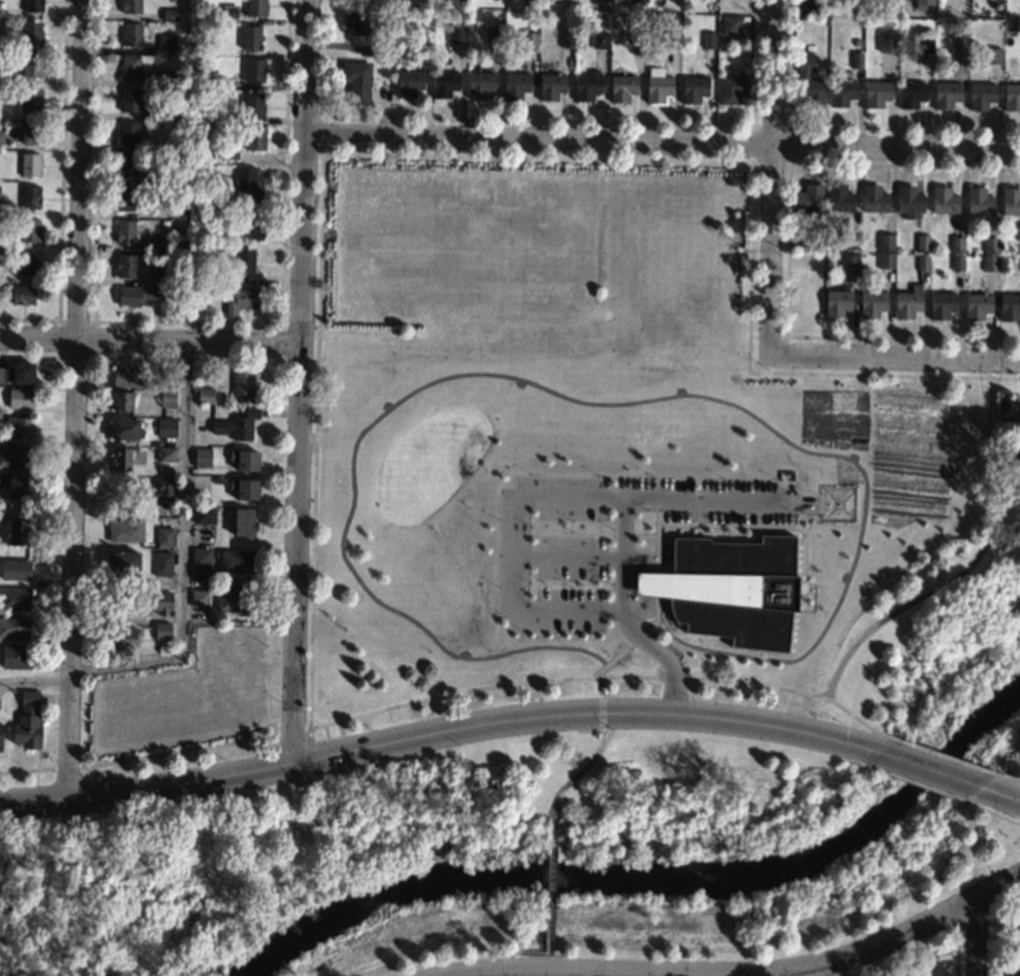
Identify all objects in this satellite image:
building: (603, 0)
building: (640, 0)
building: (675, 0)
building: (923, 2)
building: (428, 3)
building: (445, 3)
building: (531, 3)
building: (33, 5)
building: (570, 6)
building: (809, 6)
building: (131, 7)
building: (256, 8)
building: (927, 9)
building: (229, 14)
building: (171, 15)
building: (816, 19)
building: (357, 21)
building: (730, 25)
building: (197, 28)
building: (31, 34)
building: (131, 35)
building: (457, 35)
building: (492, 35)
building: (636, 35)
building: (672, 37)
building: (251, 38)
building: (566, 39)
building: (600, 40)
building: (708, 40)
building: (957, 40)
building: (528, 41)
building: (888, 41)
building: (857, 42)
building: (924, 42)
building: (167, 45)
building: (423, 48)
building: (384, 50)
building: (959, 55)
building: (992, 56)
building: (856, 60)
building: (31, 66)
building: (129, 67)
building: (253, 70)
building: (180, 77)
building: (166, 79)
building: (356, 81)
building: (809, 82)
building: (408, 83)
building: (444, 83)
building: (222, 84)
building: (479, 85)
building: (514, 85)
building: (550, 86)
building: (587, 86)
building: (657, 87)
building: (622, 88)
building: (693, 89)
building: (732, 89)
building: (841, 92)
building: (197, 94)
building: (876, 94)
building: (911, 94)
building: (946, 95)
building: (981, 96)
building: (29, 98)
building: (1012, 98)
building: (129, 101)
building: (253, 105)
building: (30, 132)
building: (128, 133)
building: (1, 136)
building: (255, 138)
building: (154, 148)
road: (663, 150)
building: (229, 154)
building: (30, 165)
building: (126, 166)
road: (306, 176)
road: (774, 179)
building: (157, 180)
building: (248, 182)
building: (30, 197)
building: (839, 198)
building: (124, 199)
building: (873, 199)
building: (809, 201)
building: (943, 201)
building: (909, 202)
building: (979, 202)
building: (1010, 202)
building: (179, 210)
building: (248, 223)
building: (30, 230)
building: (125, 232)
building: (1018, 233)
building: (852, 241)
building: (812, 242)
building: (886, 242)
building: (922, 243)
building: (161, 244)
building: (957, 244)
building: (991, 245)
building: (197, 258)
building: (886, 260)
building: (922, 262)
building: (957, 262)
building: (990, 262)
building: (27, 263)
building: (849, 263)
building: (245, 264)
building: (125, 266)
building: (161, 277)
building: (806, 292)
building: (18, 294)
building: (136, 295)
building: (242, 301)
building: (837, 301)
building: (872, 303)
building: (907, 303)
building: (941, 305)
building: (977, 306)
building: (1009, 307)
building: (209, 317)
building: (461, 323)
road: (81, 335)
road: (151, 350)
road: (896, 360)
building: (17, 373)
building: (130, 378)
building: (169, 378)
building: (244, 386)
building: (205, 396)
building: (167, 398)
road: (571, 398)
building: (21, 399)
building: (121, 401)
building: (1007, 412)
building: (236, 425)
building: (21, 426)
building: (166, 428)
building: (125, 430)
building: (166, 454)
building: (1016, 454)
building: (16, 456)
building: (126, 458)
building: (202, 458)
building: (244, 460)
building: (18, 487)
building: (165, 488)
building: (244, 489)
road: (583, 497)
road: (709, 502)
building: (174, 504)
road: (184, 504)
building: (203, 514)
building: (243, 522)
building: (125, 531)
building: (19, 532)
building: (166, 537)
building: (201, 557)
road: (296, 557)
building: (123, 562)
building: (238, 562)
road: (972, 562)
building: (162, 564)
building: (15, 569)
building: (729, 589)
building: (199, 598)
building: (14, 599)
building: (236, 601)
building: (161, 603)
road: (656, 616)
building: (13, 628)
building: (162, 631)
building: (122, 638)
park: (929, 646)
building: (14, 657)
road: (124, 664)
road: (70, 676)
road: (599, 679)
road: (35, 682)
road: (605, 695)
road: (739, 718)
road: (504, 720)
building: (27, 722)
road: (309, 731)
road: (289, 732)
building: (0, 733)
road: (67, 739)
park: (1000, 752)
road: (176, 753)
road: (857, 754)
road: (307, 756)
road: (942, 756)
road: (65, 766)
road: (582, 768)
road: (925, 769)
road: (27, 770)
road: (205, 778)
road: (1007, 778)
road: (84, 780)
road: (909, 782)
road: (295, 784)
road: (999, 794)
road: (991, 813)
park: (509, 868)
river: (655, 881)
road: (549, 886)
road: (973, 934)
road: (516, 952)
building: (1017, 970)
road: (749, 972)

